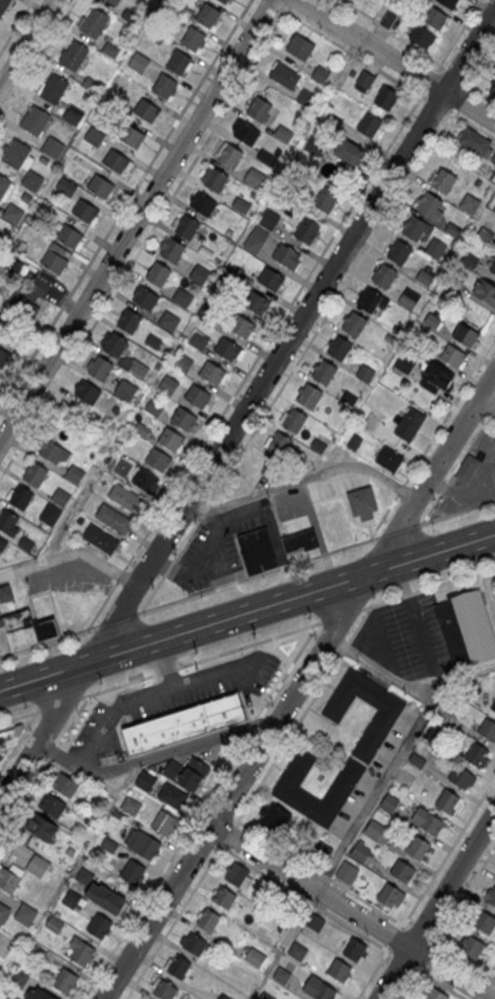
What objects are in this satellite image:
building: (225, 1)
building: (113, 2)
road: (291, 2)
road: (274, 3)
building: (449, 3)
building: (4, 7)
building: (209, 17)
building: (435, 18)
building: (391, 20)
building: (95, 24)
road: (15, 25)
road: (391, 33)
road: (457, 35)
building: (421, 37)
building: (193, 41)
road: (26, 42)
building: (300, 46)
road: (352, 52)
building: (74, 57)
road: (37, 60)
road: (397, 62)
building: (138, 63)
building: (179, 64)
road: (479, 67)
building: (284, 75)
road: (453, 75)
building: (320, 76)
road: (429, 80)
building: (366, 82)
building: (165, 87)
building: (53, 90)
road: (478, 91)
building: (493, 92)
building: (386, 97)
building: (306, 100)
road: (459, 100)
road: (436, 104)
building: (259, 109)
building: (147, 112)
building: (72, 116)
building: (36, 121)
road: (471, 123)
building: (370, 125)
building: (246, 135)
building: (94, 137)
building: (132, 138)
building: (474, 142)
building: (314, 147)
building: (52, 149)
building: (228, 154)
building: (17, 155)
building: (352, 156)
building: (266, 157)
building: (493, 158)
building: (116, 163)
building: (490, 174)
building: (214, 178)
building: (254, 179)
building: (443, 180)
building: (32, 182)
building: (4, 187)
building: (66, 187)
building: (101, 188)
building: (287, 192)
building: (326, 200)
building: (469, 203)
road: (125, 204)
building: (241, 205)
building: (430, 205)
building: (203, 206)
building: (494, 208)
building: (494, 211)
building: (86, 213)
building: (13, 215)
road: (135, 220)
building: (268, 221)
building: (415, 227)
building: (187, 229)
building: (452, 230)
building: (307, 231)
building: (485, 233)
building: (69, 238)
road: (145, 240)
building: (253, 244)
building: (435, 249)
building: (398, 250)
building: (173, 252)
building: (286, 257)
building: (469, 259)
building: (53, 263)
building: (493, 268)
building: (199, 274)
building: (158, 275)
building: (384, 275)
building: (424, 277)
building: (271, 281)
building: (486, 291)
building: (183, 298)
building: (409, 298)
building: (145, 299)
building: (371, 300)
building: (255, 304)
road: (332, 305)
building: (26, 310)
building: (211, 317)
building: (169, 322)
building: (129, 323)
building: (353, 323)
building: (242, 328)
road: (273, 328)
building: (397, 328)
building: (466, 335)
building: (389, 338)
building: (198, 341)
building: (116, 346)
building: (339, 348)
building: (228, 351)
building: (450, 353)
building: (3, 359)
building: (405, 361)
building: (182, 364)
building: (100, 370)
building: (323, 371)
building: (436, 372)
building: (365, 373)
building: (212, 374)
building: (169, 386)
building: (125, 392)
building: (87, 394)
building: (308, 395)
building: (349, 397)
building: (198, 398)
road: (488, 400)
road: (248, 407)
building: (154, 408)
road: (493, 409)
road: (448, 410)
building: (294, 419)
building: (371, 420)
building: (184, 421)
building: (410, 423)
building: (171, 441)
building: (353, 441)
building: (318, 445)
road: (469, 447)
building: (54, 452)
building: (276, 453)
building: (389, 458)
building: (158, 461)
building: (467, 467)
building: (34, 475)
building: (75, 475)
road: (307, 477)
parking lot: (472, 478)
building: (145, 482)
road: (336, 488)
road: (442, 488)
road: (399, 489)
building: (21, 499)
building: (60, 499)
building: (126, 500)
building: (362, 503)
road: (205, 508)
road: (430, 509)
road: (458, 511)
road: (70, 515)
building: (50, 516)
road: (381, 516)
road: (348, 517)
building: (114, 520)
building: (7, 523)
road: (420, 523)
road: (397, 531)
building: (100, 540)
building: (300, 540)
parking lot: (224, 542)
building: (2, 543)
building: (258, 549)
road: (72, 551)
road: (170, 565)
road: (120, 574)
road: (255, 575)
road: (428, 587)
building: (6, 594)
road: (102, 604)
road: (247, 610)
road: (341, 614)
road: (115, 619)
road: (360, 623)
building: (465, 626)
building: (26, 629)
parking lot: (404, 636)
road: (48, 639)
road: (248, 644)
road: (347, 646)
road: (288, 669)
road: (163, 671)
road: (462, 674)
road: (456, 678)
road: (191, 681)
road: (114, 685)
road: (300, 689)
building: (467, 691)
parking lot: (171, 698)
road: (59, 703)
building: (493, 706)
road: (38, 710)
road: (113, 710)
building: (444, 710)
road: (18, 716)
road: (72, 719)
building: (184, 722)
road: (251, 726)
building: (488, 729)
building: (371, 733)
building: (433, 735)
building: (9, 738)
road: (287, 738)
road: (18, 740)
road: (407, 745)
road: (303, 746)
road: (52, 751)
building: (476, 753)
road: (152, 757)
building: (416, 759)
road: (277, 767)
building: (172, 770)
parking lot: (372, 770)
building: (194, 773)
building: (461, 777)
building: (146, 782)
building: (64, 784)
road: (24, 796)
building: (173, 796)
building: (100, 799)
building: (446, 801)
building: (388, 802)
building: (52, 804)
building: (131, 807)
road: (226, 814)
building: (118, 816)
building: (274, 819)
building: (426, 820)
building: (88, 821)
building: (163, 821)
building: (42, 827)
road: (194, 828)
building: (374, 828)
road: (228, 833)
road: (206, 836)
building: (109, 844)
building: (144, 844)
road: (222, 844)
building: (417, 847)
building: (360, 851)
road: (447, 852)
building: (37, 864)
road: (165, 869)
building: (402, 870)
building: (132, 871)
building: (346, 871)
road: (319, 872)
building: (237, 873)
building: (82, 874)
building: (8, 878)
building: (490, 894)
building: (390, 895)
road: (463, 895)
building: (224, 896)
building: (105, 897)
road: (303, 897)
building: (72, 898)
road: (436, 905)
road: (355, 907)
building: (4, 912)
building: (26, 913)
road: (300, 916)
building: (208, 919)
building: (483, 921)
road: (173, 922)
building: (315, 923)
building: (54, 924)
building: (99, 925)
building: (280, 925)
road: (418, 934)
road: (394, 937)
building: (194, 942)
building: (470, 946)
building: (16, 949)
building: (354, 949)
building: (81, 950)
building: (297, 950)
building: (38, 954)
building: (255, 956)
road: (425, 956)
road: (402, 959)
road: (461, 961)
building: (179, 966)
building: (339, 969)
road: (372, 972)
building: (282, 974)
building: (20, 977)
building: (65, 980)
road: (409, 983)
road: (440, 983)
building: (165, 989)
building: (319, 989)
building: (435, 993)
building: (38, 994)
building: (266, 996)
building: (224, 997)

